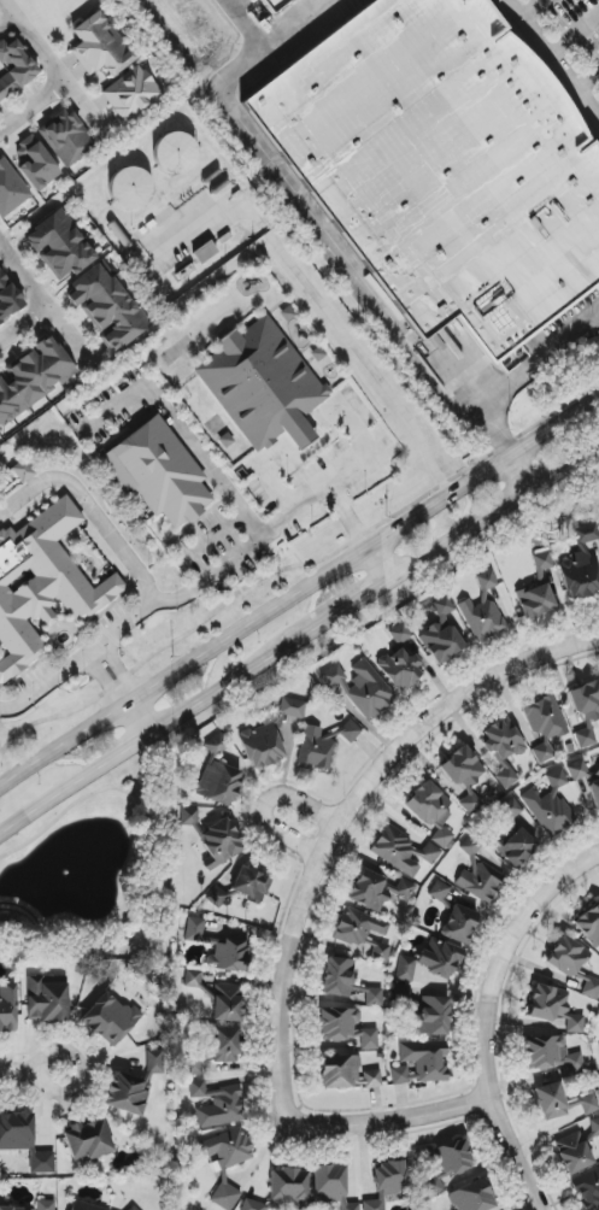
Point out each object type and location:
building: (275, 5)
road: (513, 7)
road: (527, 10)
building: (99, 46)
building: (14, 67)
road: (48, 67)
road: (558, 67)
road: (587, 81)
building: (131, 93)
road: (31, 107)
building: (66, 137)
building: (174, 153)
building: (35, 164)
building: (444, 165)
building: (130, 187)
building: (10, 189)
road: (322, 239)
building: (59, 246)
building: (7, 299)
road: (43, 302)
building: (106, 307)
road: (336, 323)
road: (24, 324)
road: (532, 369)
building: (34, 378)
building: (262, 386)
road: (304, 433)
road: (183, 435)
building: (23, 471)
building: (158, 472)
road: (517, 472)
road: (270, 477)
road: (90, 509)
road: (493, 510)
road: (348, 517)
building: (586, 534)
road: (212, 538)
road: (377, 563)
building: (541, 565)
road: (218, 571)
building: (580, 575)
building: (46, 577)
road: (298, 593)
building: (535, 601)
road: (351, 603)
building: (440, 633)
building: (400, 660)
road: (111, 677)
building: (359, 687)
building: (586, 700)
road: (139, 719)
building: (545, 726)
road: (157, 729)
building: (350, 732)
building: (269, 735)
building: (585, 738)
building: (501, 740)
building: (216, 745)
building: (315, 748)
building: (577, 770)
building: (464, 776)
building: (506, 779)
building: (218, 783)
building: (593, 788)
road: (263, 805)
building: (550, 806)
building: (188, 817)
road: (339, 817)
building: (437, 828)
building: (221, 841)
building: (515, 847)
building: (477, 875)
building: (249, 885)
building: (377, 891)
building: (439, 892)
building: (216, 897)
building: (458, 924)
building: (589, 926)
building: (194, 929)
building: (363, 933)
building: (228, 957)
building: (439, 958)
building: (572, 964)
building: (405, 969)
building: (337, 977)
building: (192, 979)
building: (46, 998)
building: (228, 1003)
building: (7, 1008)
building: (553, 1008)
building: (424, 1010)
road: (487, 1016)
building: (110, 1018)
building: (346, 1028)
building: (215, 1050)
building: (551, 1055)
building: (154, 1062)
building: (421, 1063)
road: (19, 1068)
building: (346, 1073)
road: (65, 1088)
building: (127, 1094)
building: (560, 1103)
building: (217, 1104)
road: (394, 1121)
building: (23, 1140)
building: (87, 1140)
building: (228, 1149)
building: (576, 1149)
building: (447, 1165)
building: (387, 1183)
building: (331, 1186)
building: (587, 1188)
building: (283, 1190)
building: (225, 1196)
building: (471, 1197)
building: (37, 1205)
building: (83, 1206)
building: (133, 1209)

